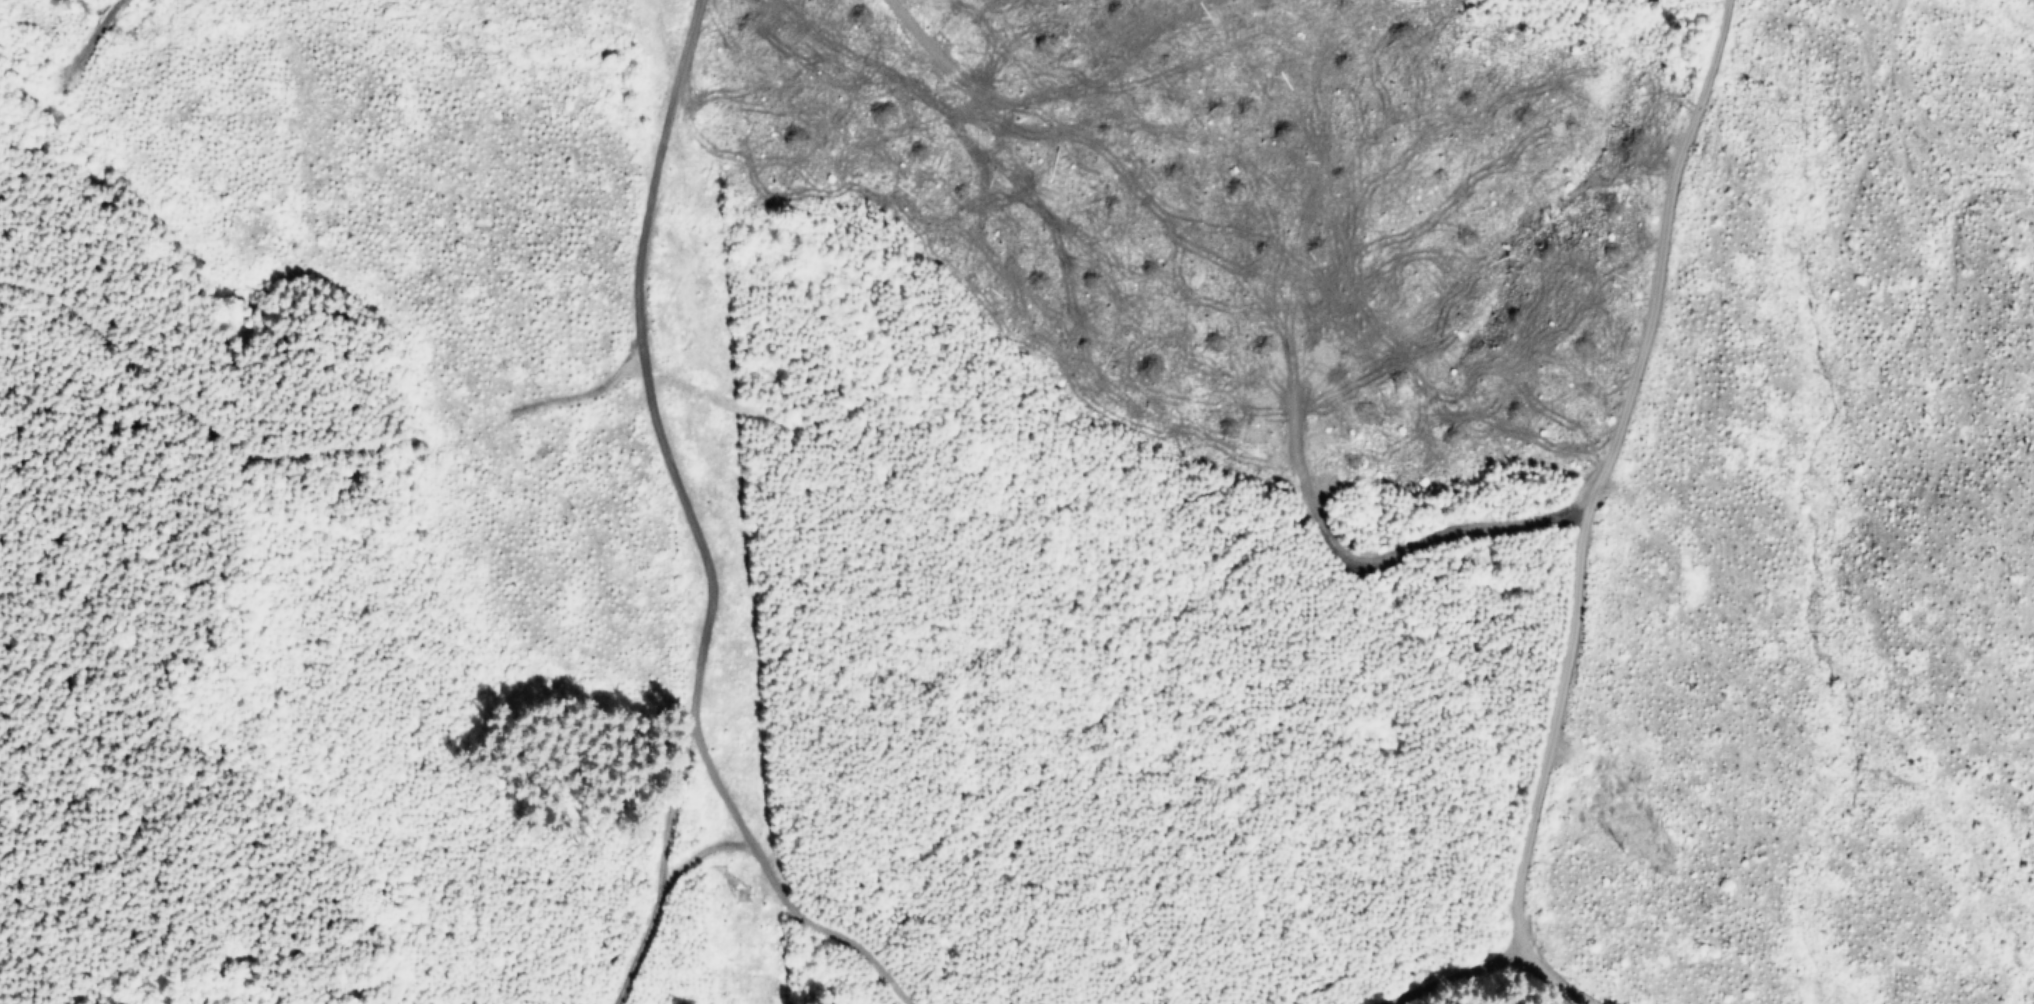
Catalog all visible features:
road: (1639, 506)

